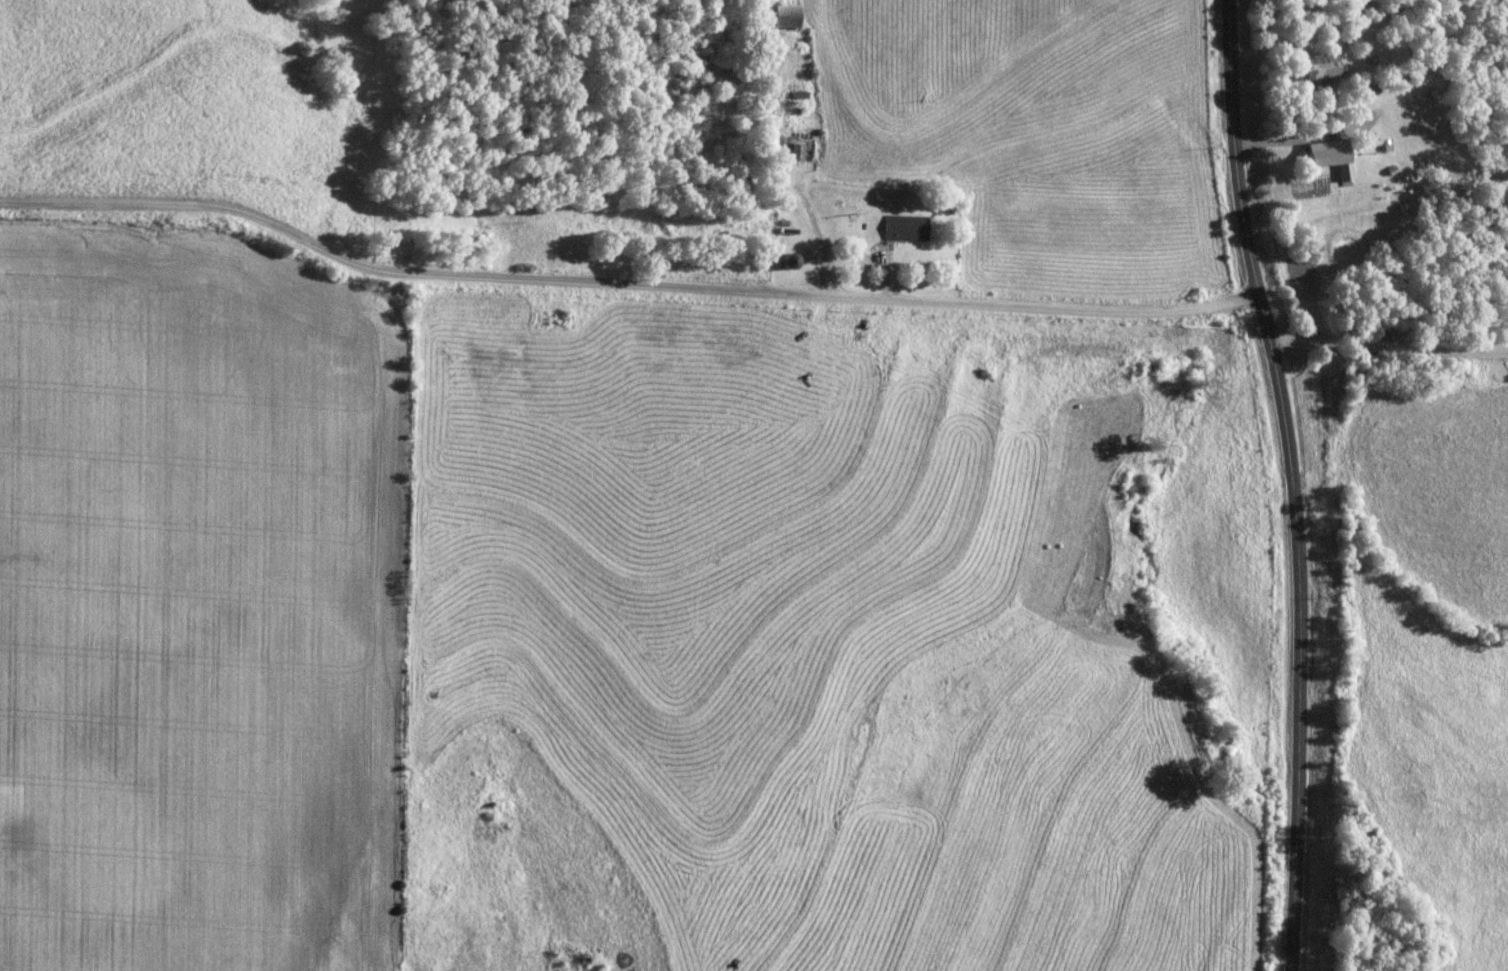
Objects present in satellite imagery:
building: (783, 16)
building: (1318, 67)
building: (1409, 113)
building: (794, 152)
building: (1331, 160)
building: (904, 228)
building: (787, 261)
road: (621, 284)
road: (1385, 345)
road: (1290, 483)

